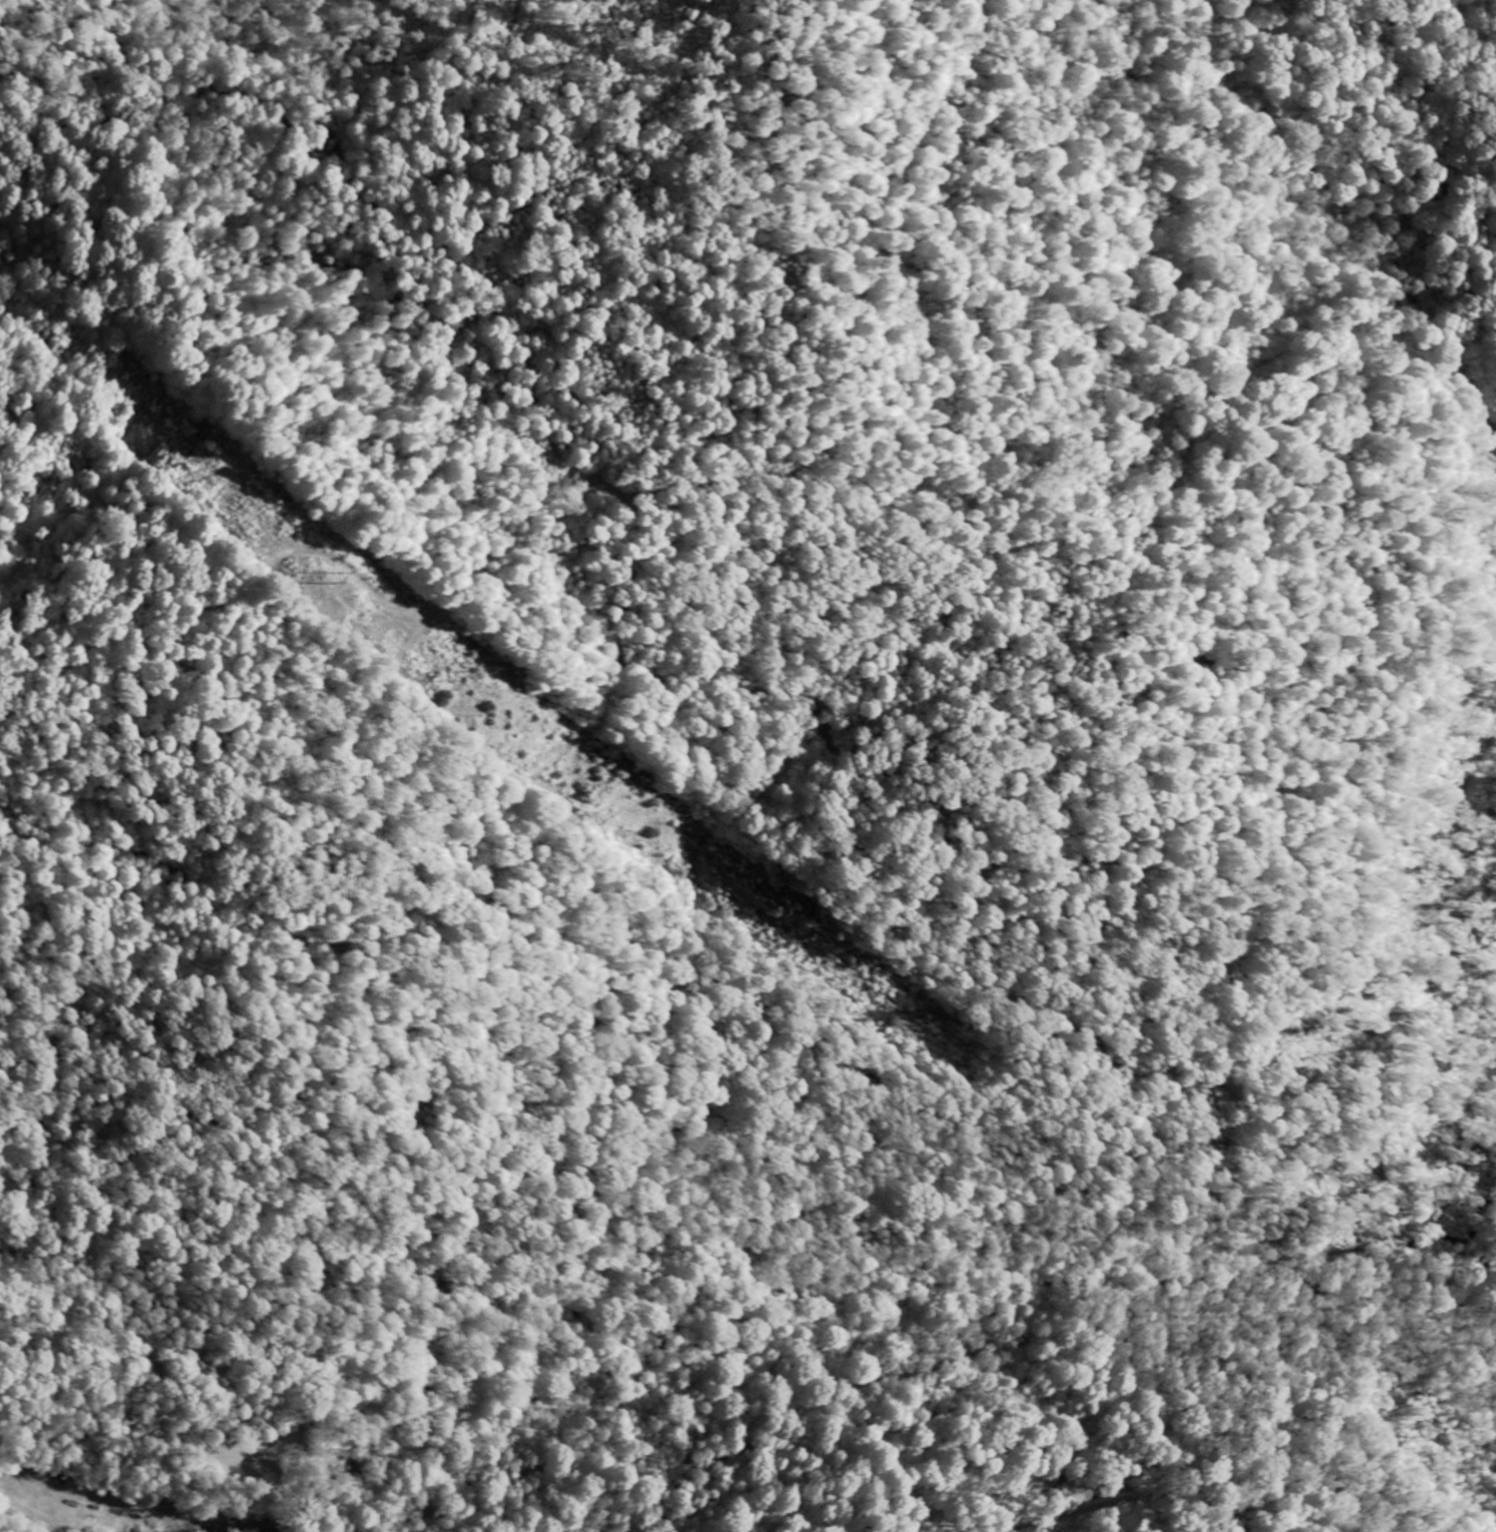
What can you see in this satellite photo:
power tower: (328, 567)
power tower: (467, 683)

